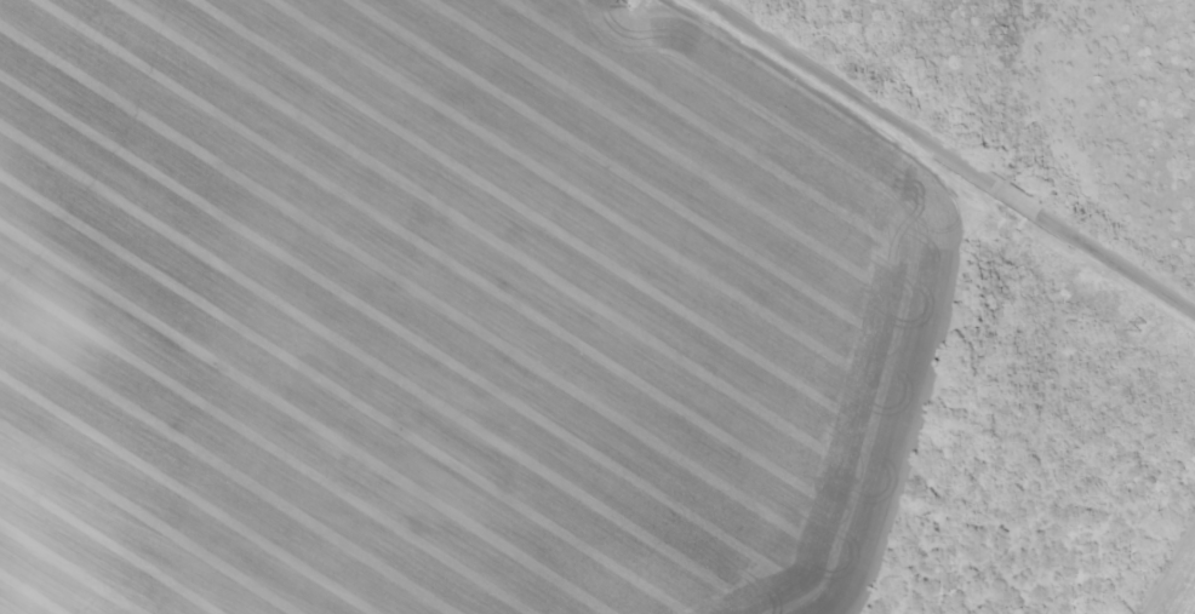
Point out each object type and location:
power tower: (631, 4)
road: (961, 148)
power tower: (1143, 329)

